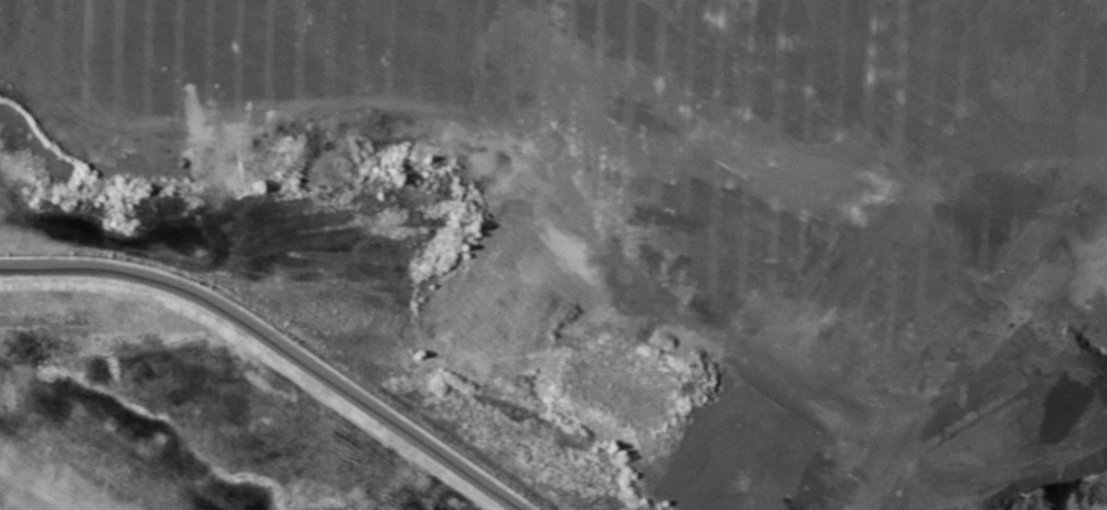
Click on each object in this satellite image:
road: (275, 343)
airport: (194, 405)

